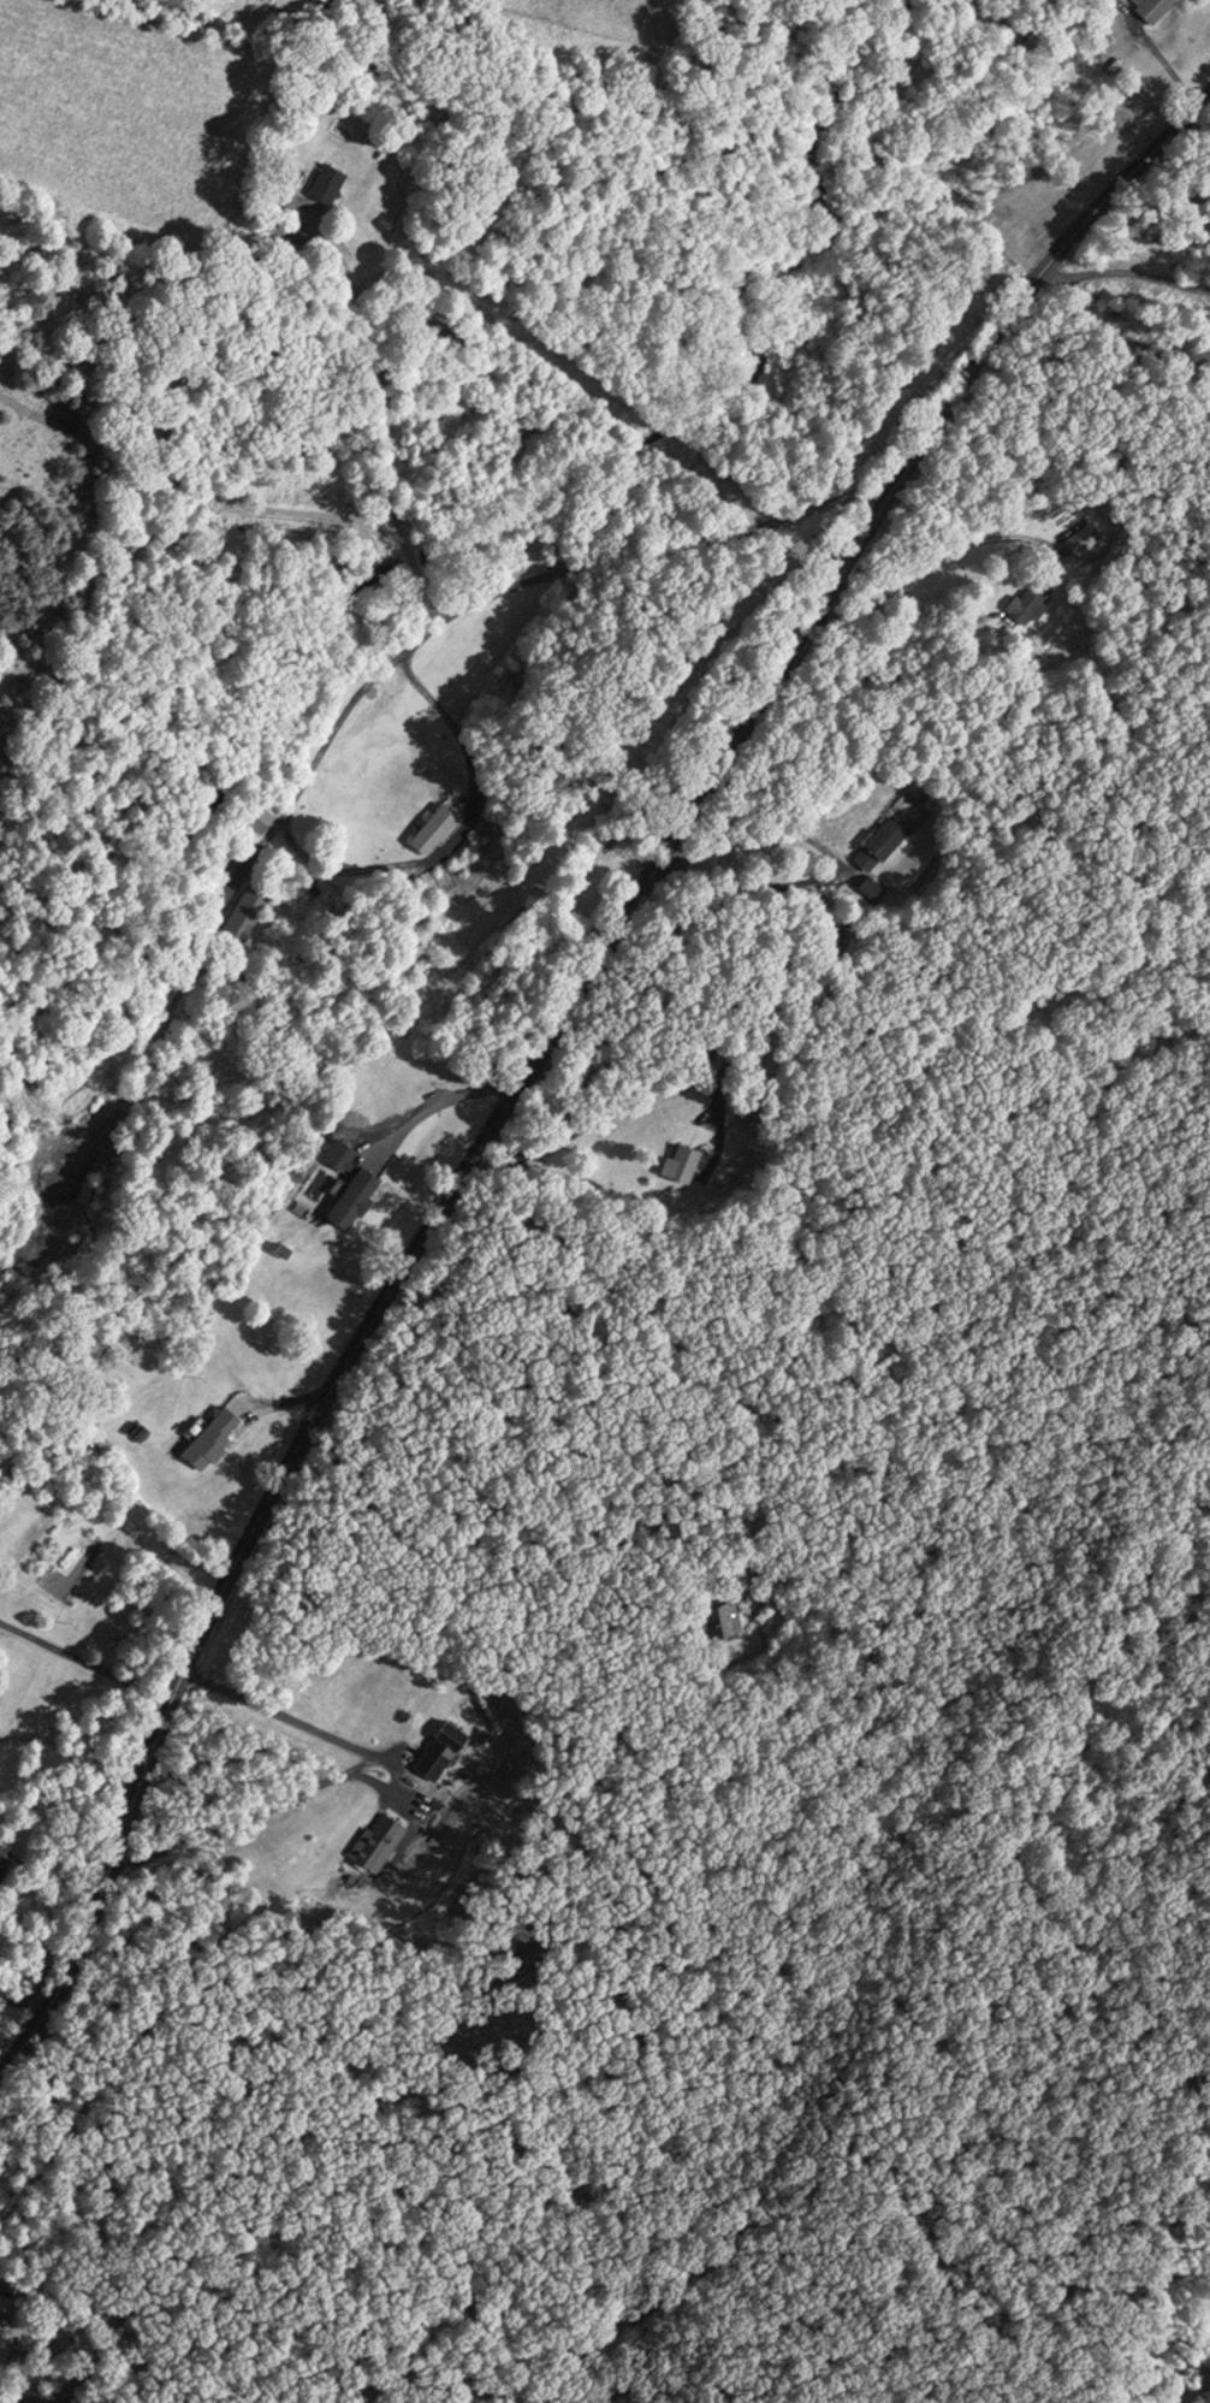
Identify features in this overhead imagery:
building: (1153, 7)
building: (332, 182)
road: (1128, 277)
building: (1080, 541)
building: (1027, 600)
road: (368, 682)
building: (437, 828)
building: (891, 834)
building: (244, 915)
road: (557, 1044)
road: (449, 1097)
building: (684, 1161)
building: (358, 1195)
road: (85, 1659)
road: (354, 1772)
building: (5, 1858)

